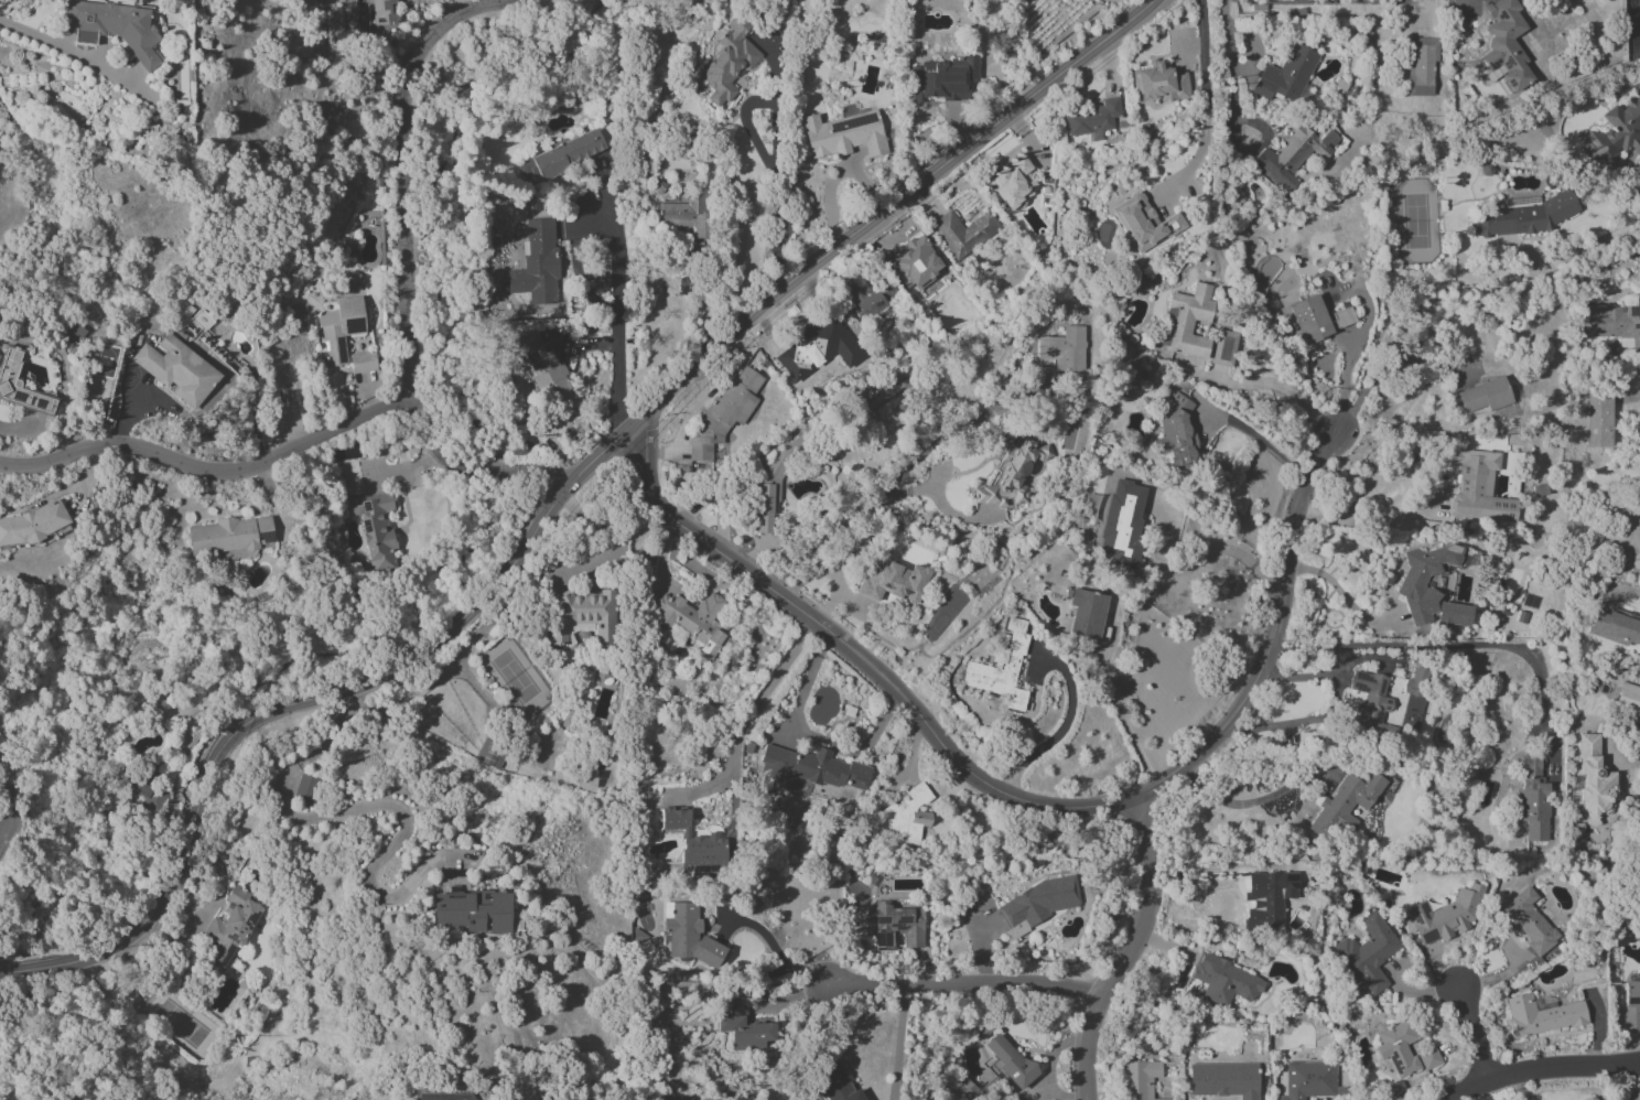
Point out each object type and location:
building: (1094, 0)
road: (1328, 2)
building: (384, 11)
building: (115, 29)
road: (40, 34)
building: (1504, 43)
road: (1227, 57)
building: (729, 61)
building: (1421, 66)
road: (1202, 71)
building: (941, 79)
building: (1162, 83)
building: (1092, 118)
building: (843, 134)
building: (1615, 134)
road: (1256, 150)
building: (1294, 154)
building: (562, 155)
road: (938, 168)
road: (408, 175)
building: (1013, 183)
road: (774, 187)
building: (686, 214)
building: (1525, 216)
building: (1145, 223)
building: (963, 233)
road: (1590, 247)
road: (1463, 259)
building: (538, 261)
building: (918, 262)
building: (872, 298)
building: (1309, 319)
building: (1186, 322)
building: (1614, 322)
building: (339, 328)
road: (618, 332)
building: (807, 347)
building: (1064, 348)
building: (363, 362)
building: (176, 369)
building: (546, 369)
building: (8, 378)
road: (680, 382)
road: (1346, 382)
road: (1267, 385)
building: (1485, 396)
building: (724, 413)
building: (1598, 417)
building: (1175, 433)
road: (1254, 435)
building: (345, 453)
road: (483, 459)
road: (211, 471)
building: (1016, 474)
building: (773, 487)
building: (1479, 488)
road: (880, 492)
road: (1372, 518)
building: (32, 524)
building: (1122, 525)
building: (375, 528)
building: (231, 532)
road: (1210, 553)
building: (894, 582)
building: (1413, 589)
road: (1342, 594)
building: (1086, 613)
building: (581, 615)
building: (692, 621)
building: (1615, 627)
road: (1271, 640)
road: (1465, 645)
road: (860, 660)
building: (1001, 669)
road: (1324, 673)
building: (1415, 681)
road: (803, 688)
road: (326, 693)
building: (1627, 698)
building: (1367, 701)
road: (746, 718)
road: (1301, 721)
road: (1064, 726)
road: (1125, 731)
building: (488, 757)
building: (810, 769)
building: (1594, 777)
building: (306, 787)
road: (8, 788)
building: (149, 794)
building: (1533, 798)
road: (1252, 801)
building: (1345, 804)
road: (374, 805)
building: (908, 815)
road: (2, 819)
road: (2, 826)
building: (694, 841)
road: (1212, 867)
building: (1272, 895)
road: (212, 905)
building: (1036, 905)
building: (474, 910)
building: (1445, 915)
building: (1528, 921)
building: (230, 927)
building: (897, 927)
building: (689, 935)
road: (775, 950)
road: (1126, 951)
building: (1367, 953)
road: (33, 967)
road: (9, 970)
building: (1224, 981)
road: (964, 993)
building: (1631, 1005)
building: (1542, 1015)
building: (745, 1027)
road: (1471, 1038)
road: (897, 1046)
building: (1403, 1050)
building: (1008, 1059)
road: (1049, 1064)
road: (1542, 1069)
building: (1139, 1079)
building: (1223, 1080)
building: (1310, 1080)
building: (837, 1085)
road: (73, 1096)
building: (446, 1096)
building: (1588, 1099)

